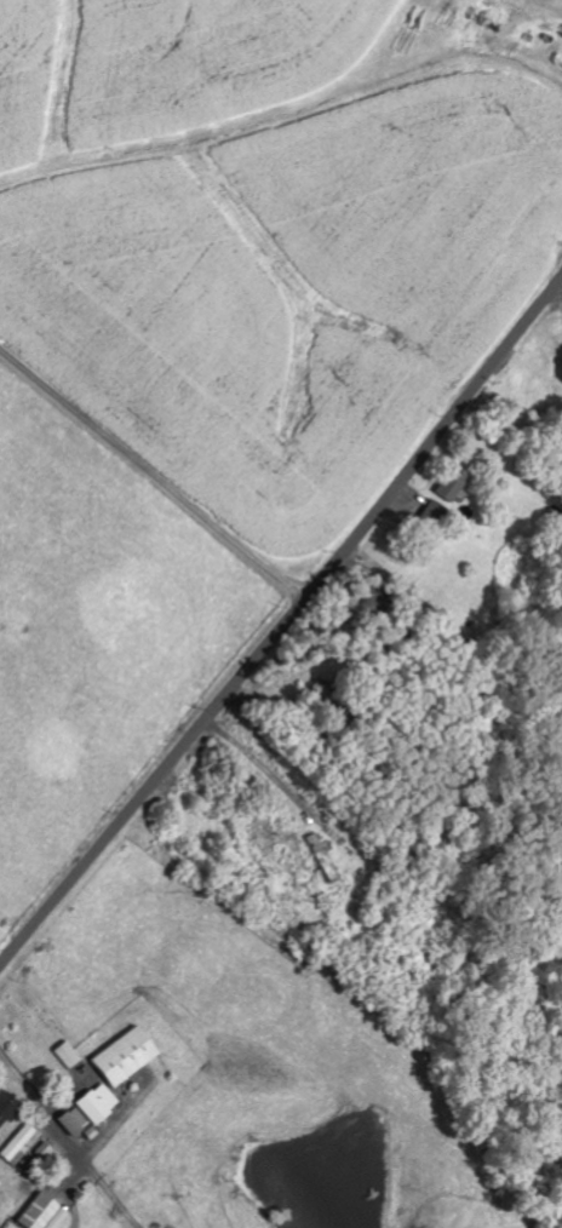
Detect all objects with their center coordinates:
road: (561, 279)
road: (161, 453)
building: (455, 484)
building: (434, 515)
road: (286, 626)
building: (69, 1056)
building: (127, 1056)
building: (99, 1103)
building: (8, 1108)
building: (76, 1123)
building: (22, 1144)
building: (45, 1212)

